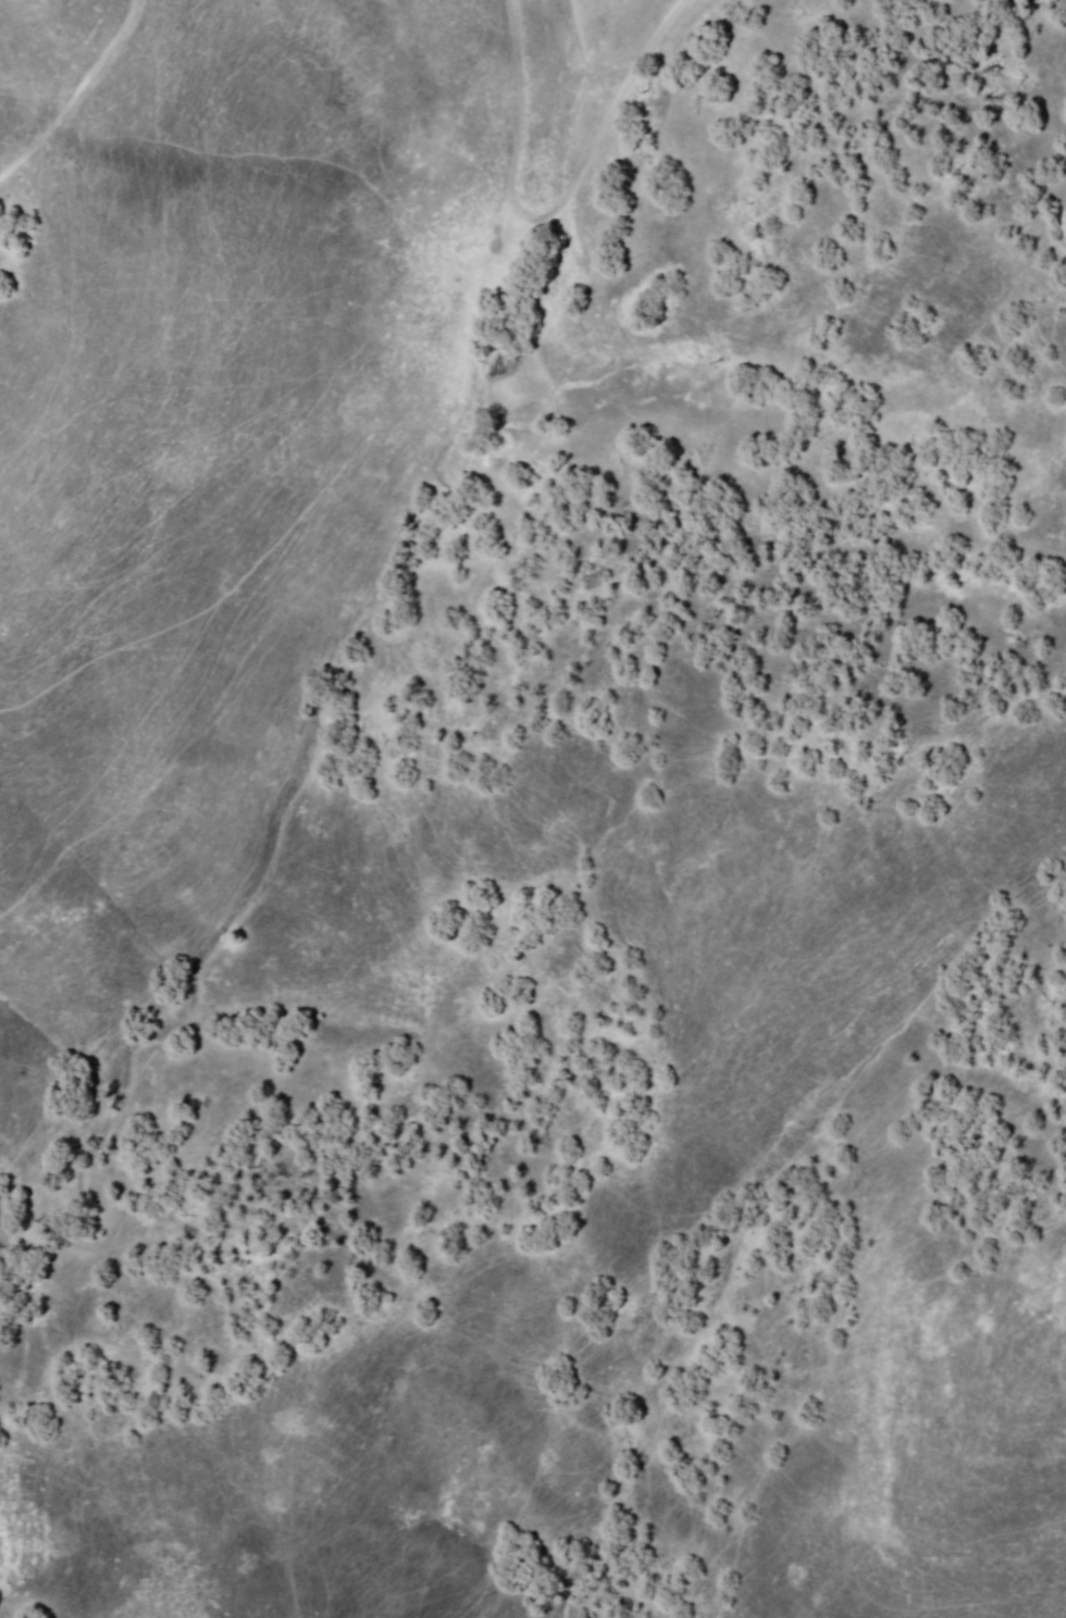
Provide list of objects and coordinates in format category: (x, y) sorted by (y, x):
road: (87, 84)

